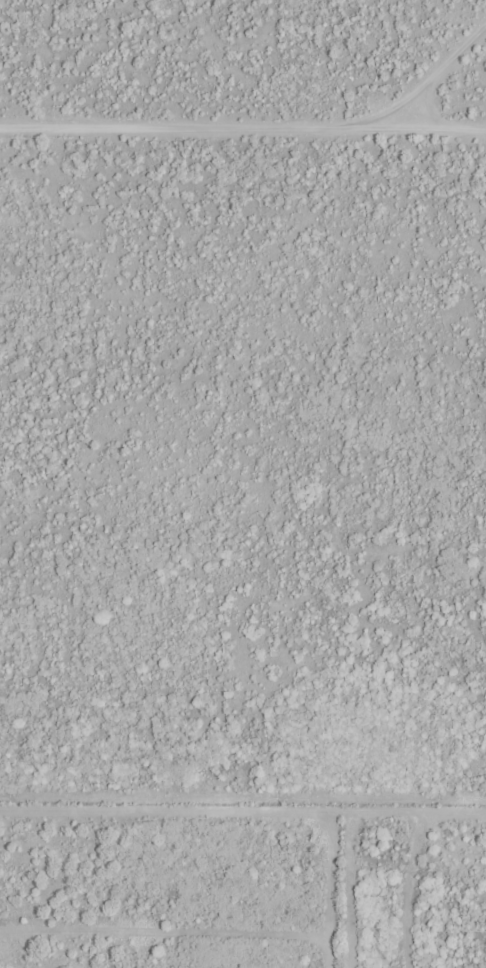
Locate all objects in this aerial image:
road: (242, 123)

